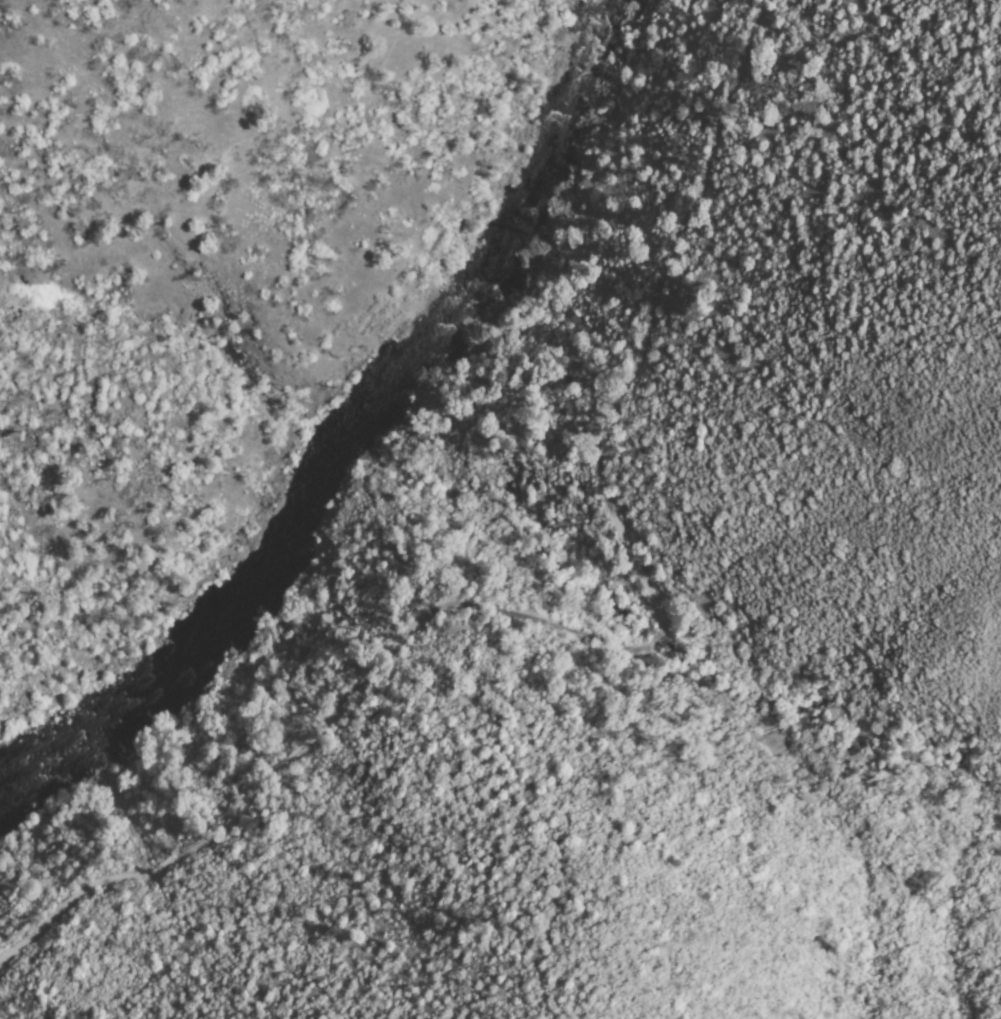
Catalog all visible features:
river: (367, 430)
road: (636, 649)

